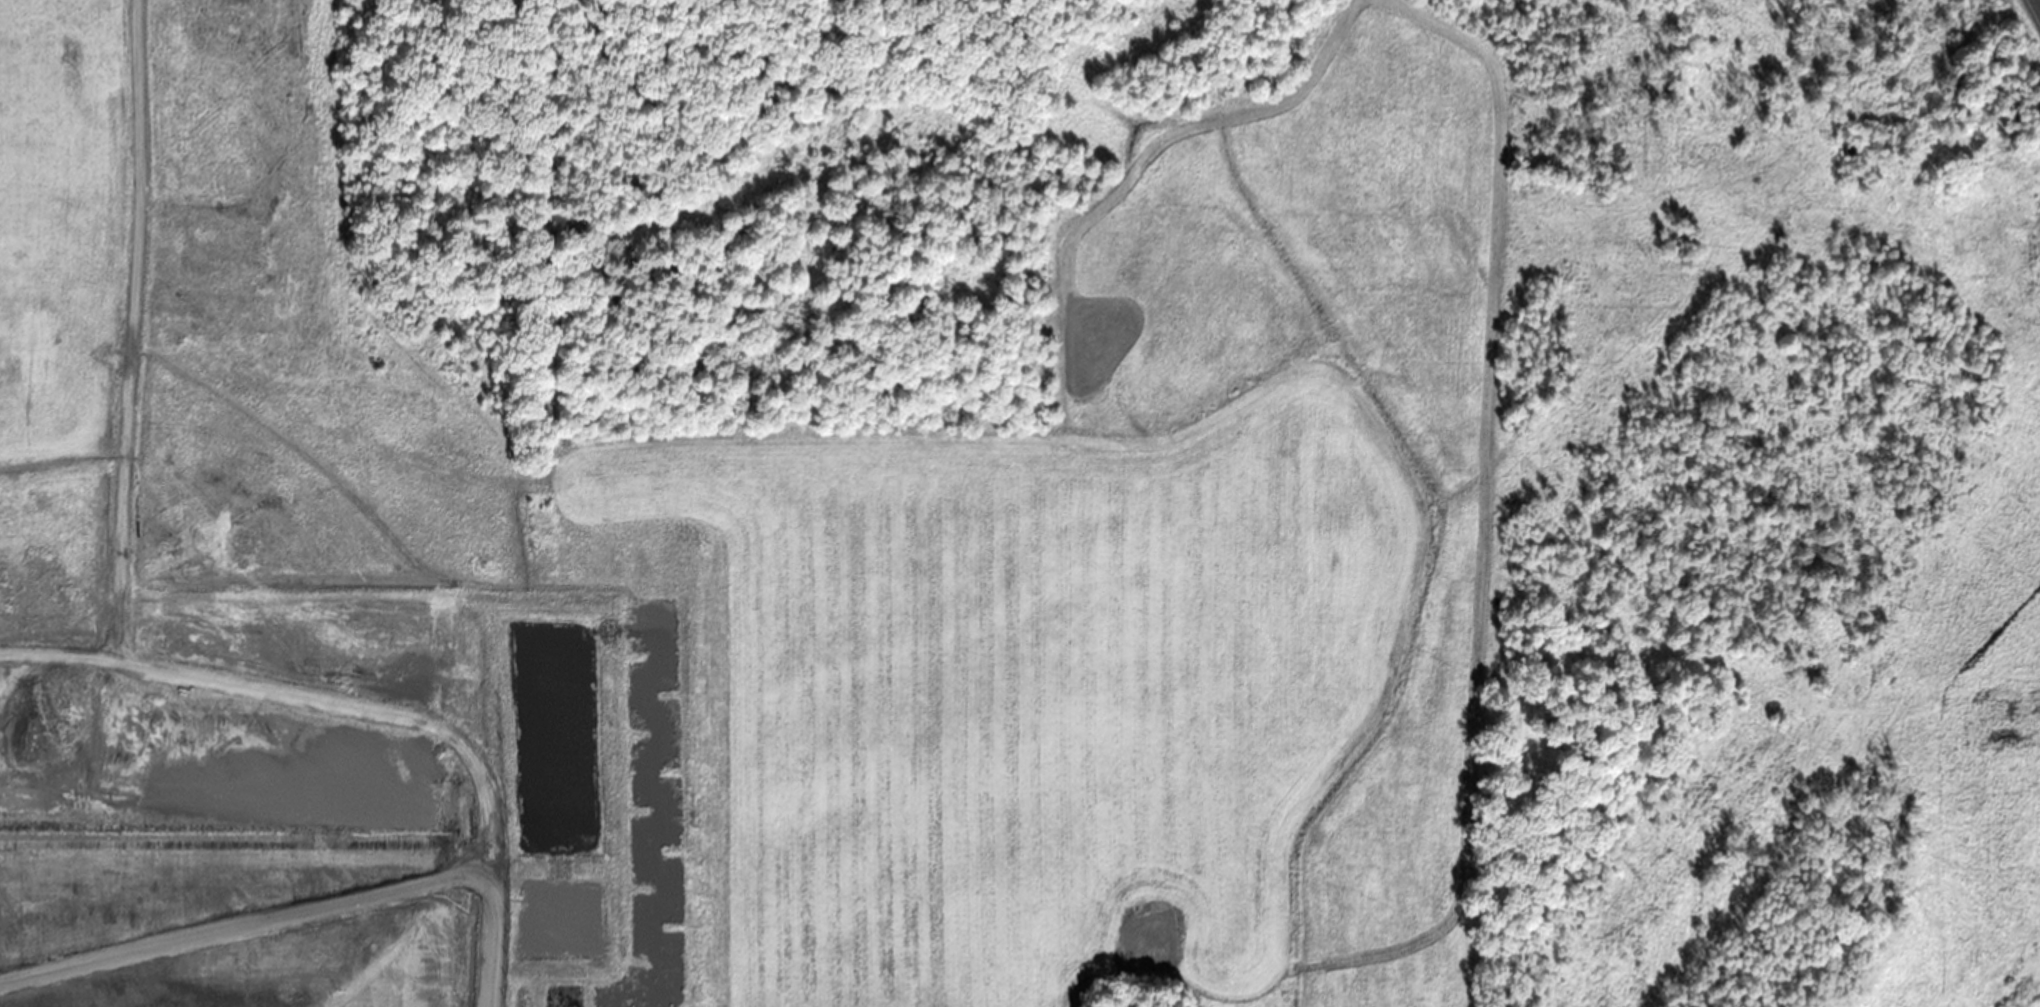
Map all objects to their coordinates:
road: (2038, 2)
landfill: (860, 541)
road: (116, 643)

